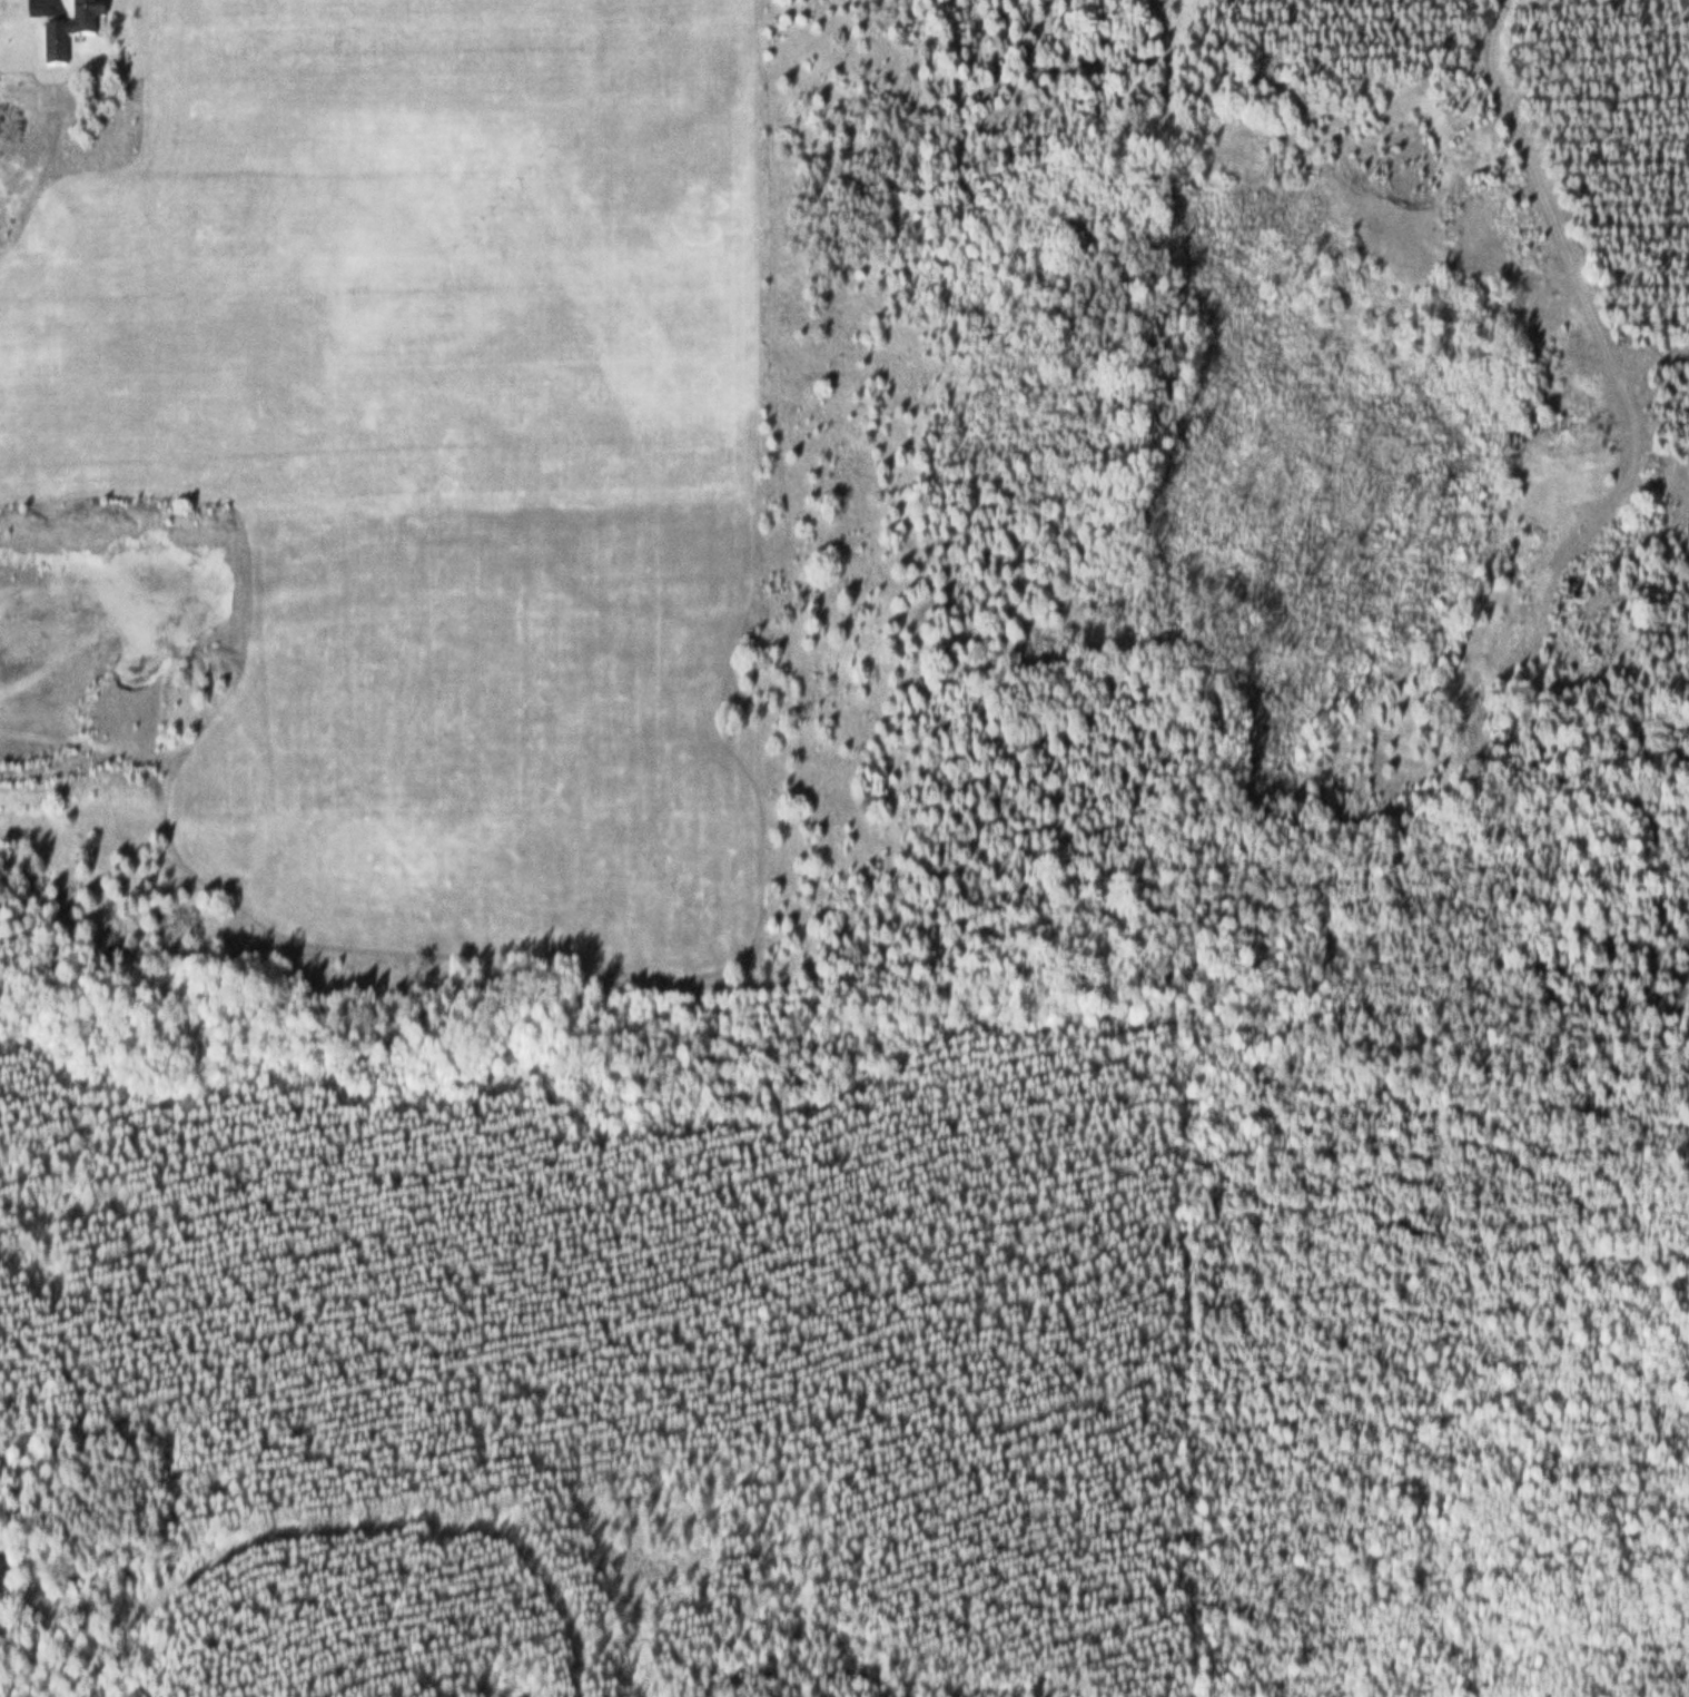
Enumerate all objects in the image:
building: (73, 31)
road: (1592, 282)
road: (1460, 633)

